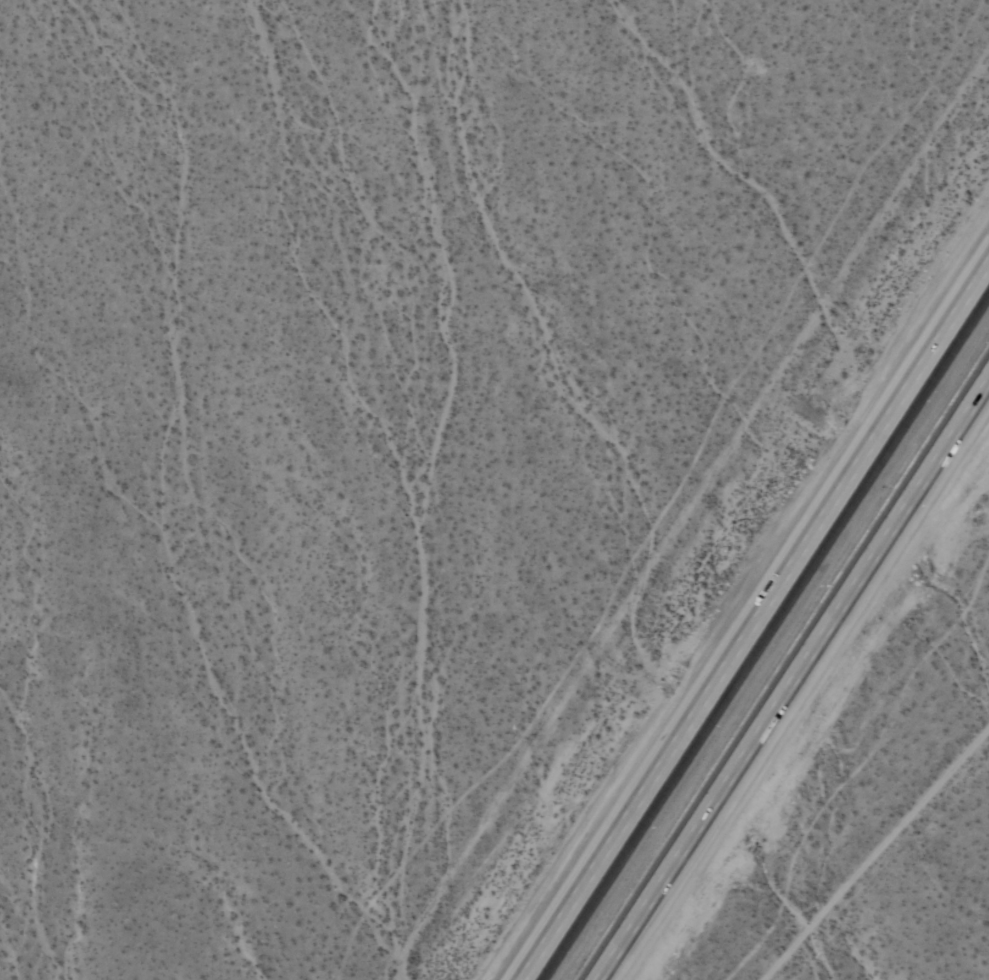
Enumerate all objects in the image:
road: (754, 620)
railway: (772, 647)
road: (794, 681)

